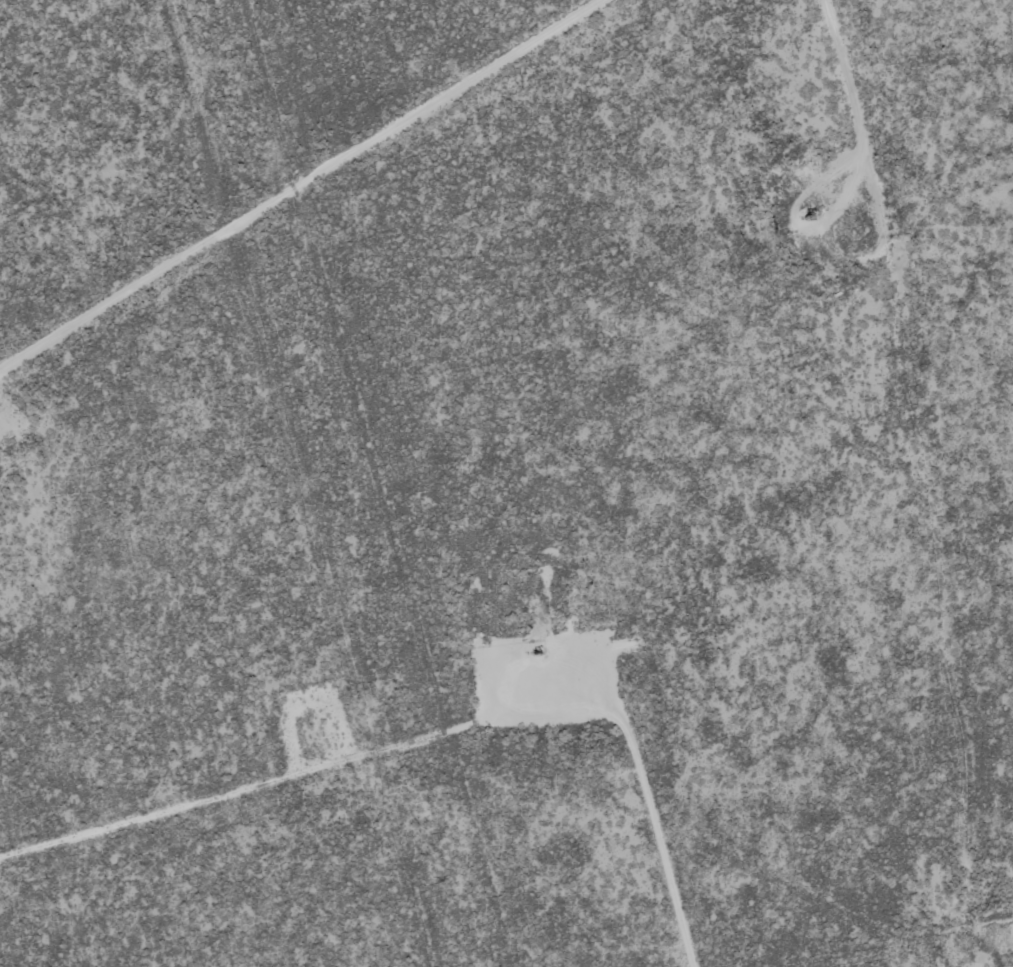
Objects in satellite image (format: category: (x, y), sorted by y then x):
road: (880, 100)
road: (3, 903)
road: (13, 924)

